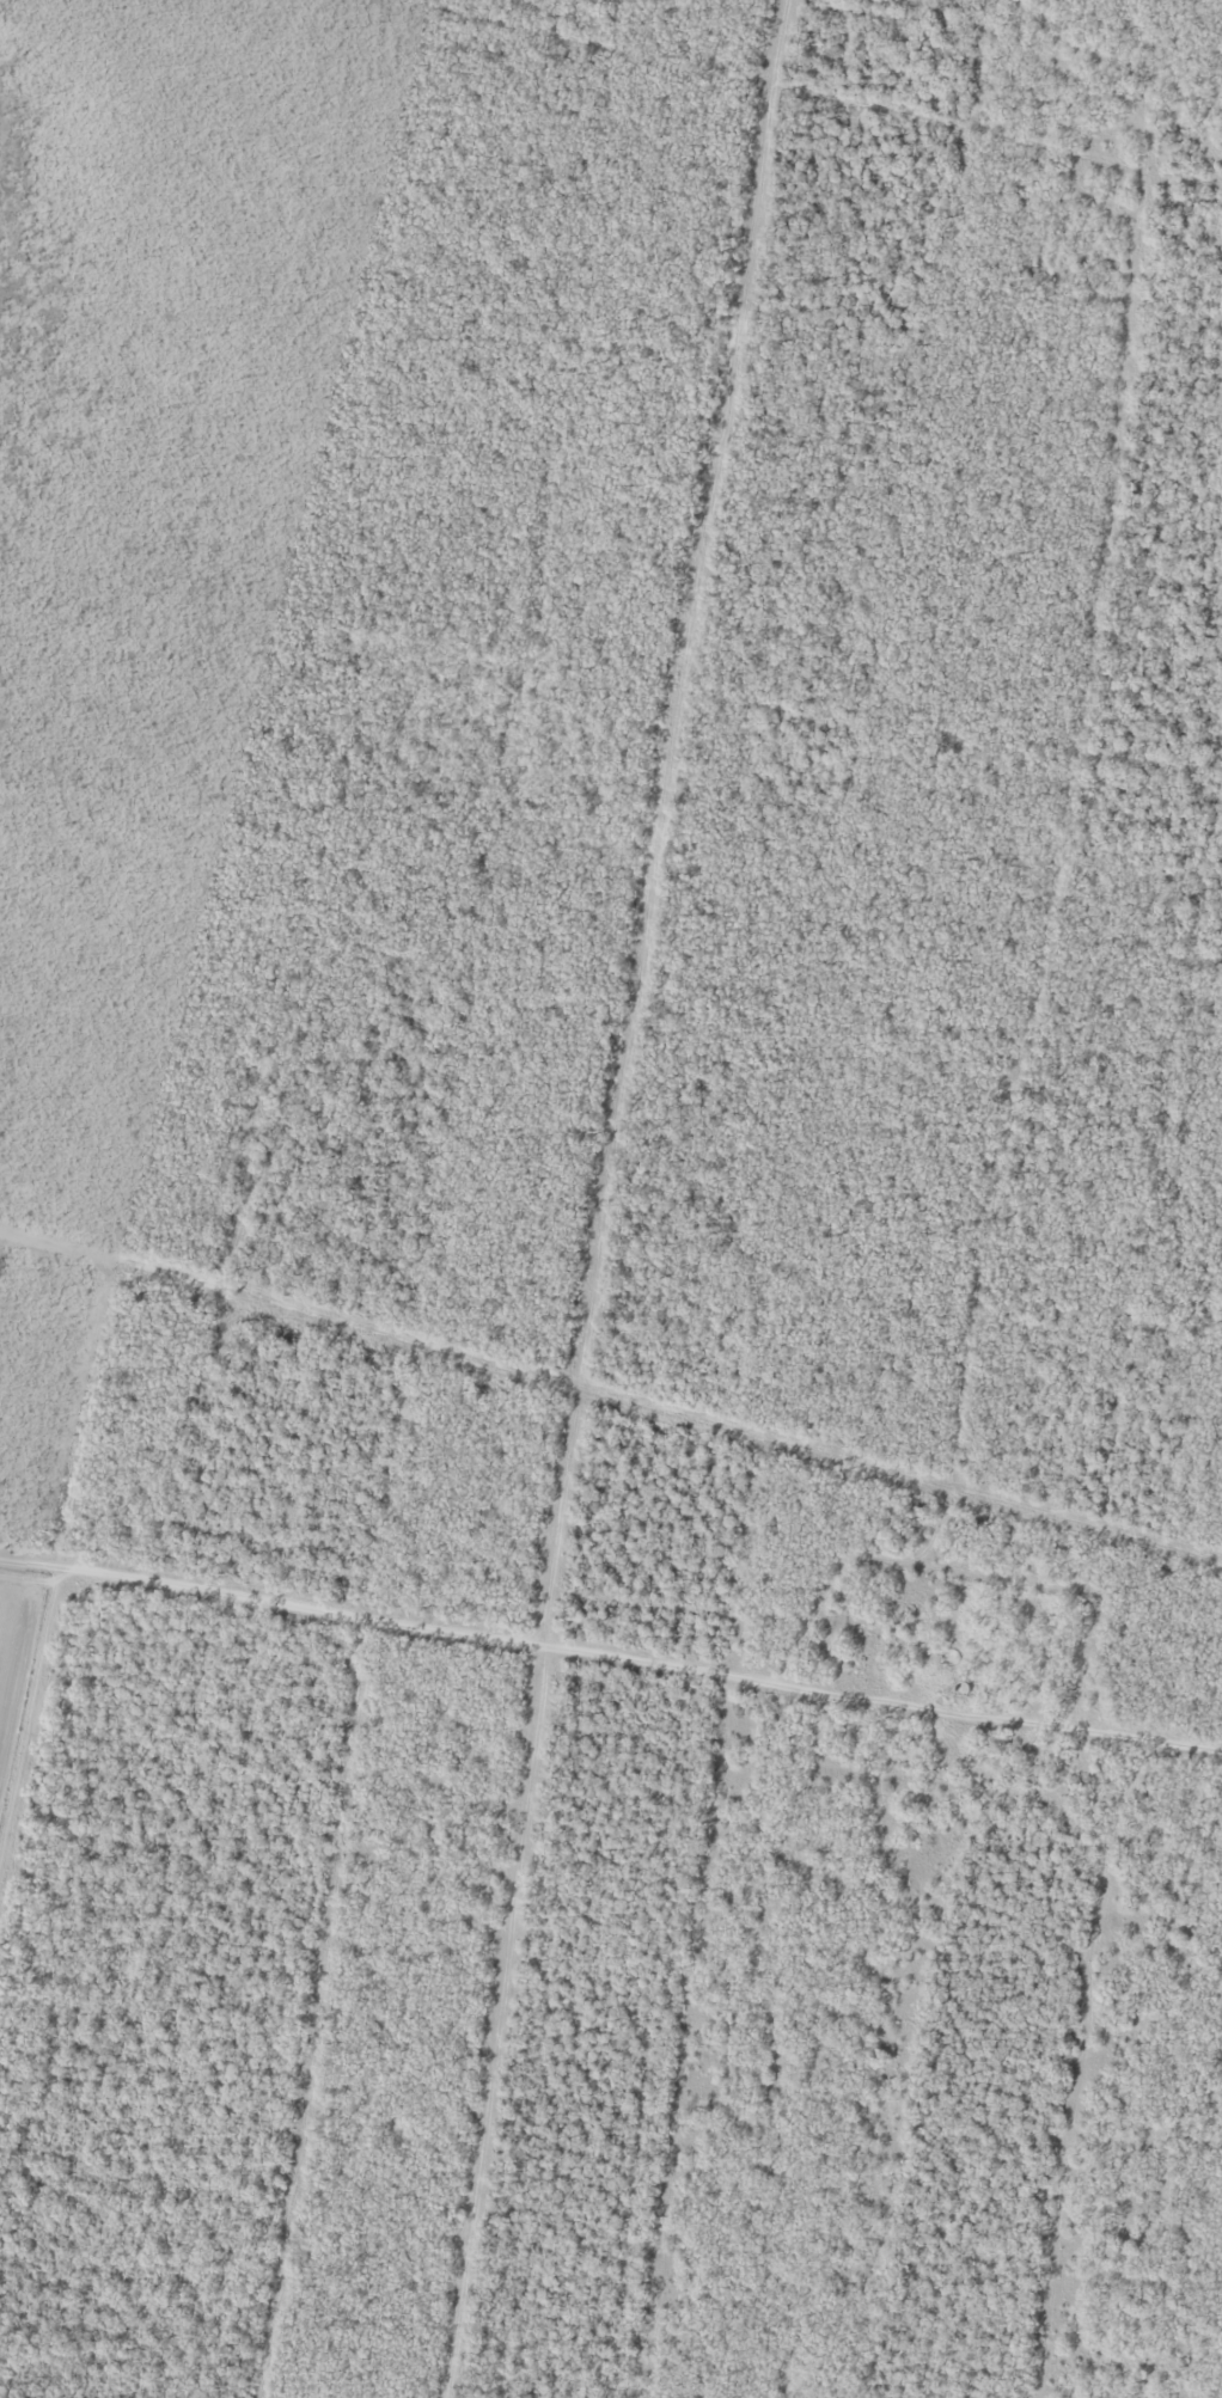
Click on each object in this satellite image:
road: (609, 1669)

